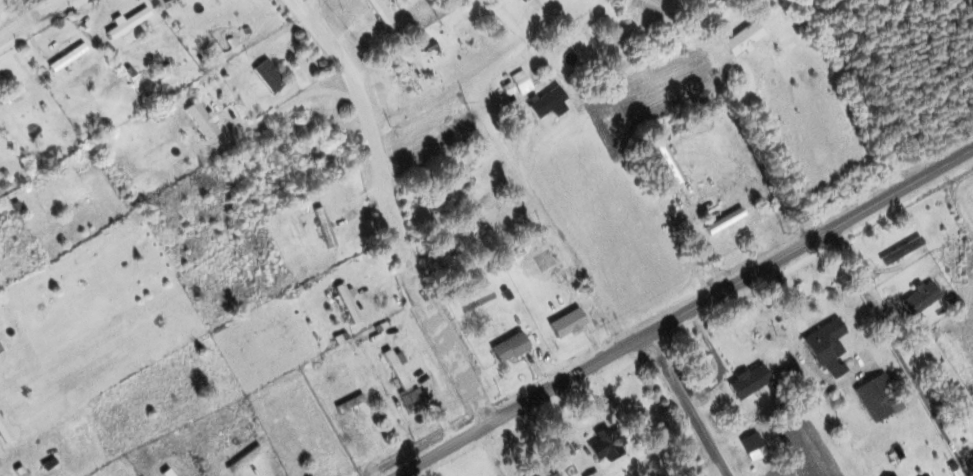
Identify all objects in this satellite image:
building: (184, 0)
building: (380, 12)
road: (28, 17)
building: (131, 36)
building: (745, 40)
building: (68, 58)
building: (275, 76)
building: (409, 78)
building: (518, 84)
building: (14, 100)
building: (550, 104)
building: (205, 126)
building: (670, 162)
road: (390, 210)
building: (725, 220)
building: (902, 251)
road: (731, 287)
building: (922, 297)
building: (347, 303)
building: (568, 323)
building: (827, 344)
road: (896, 344)
building: (510, 347)
building: (402, 379)
building: (750, 380)
building: (879, 397)
road: (684, 407)
building: (5, 433)
building: (606, 443)
road: (443, 450)
building: (972, 452)

